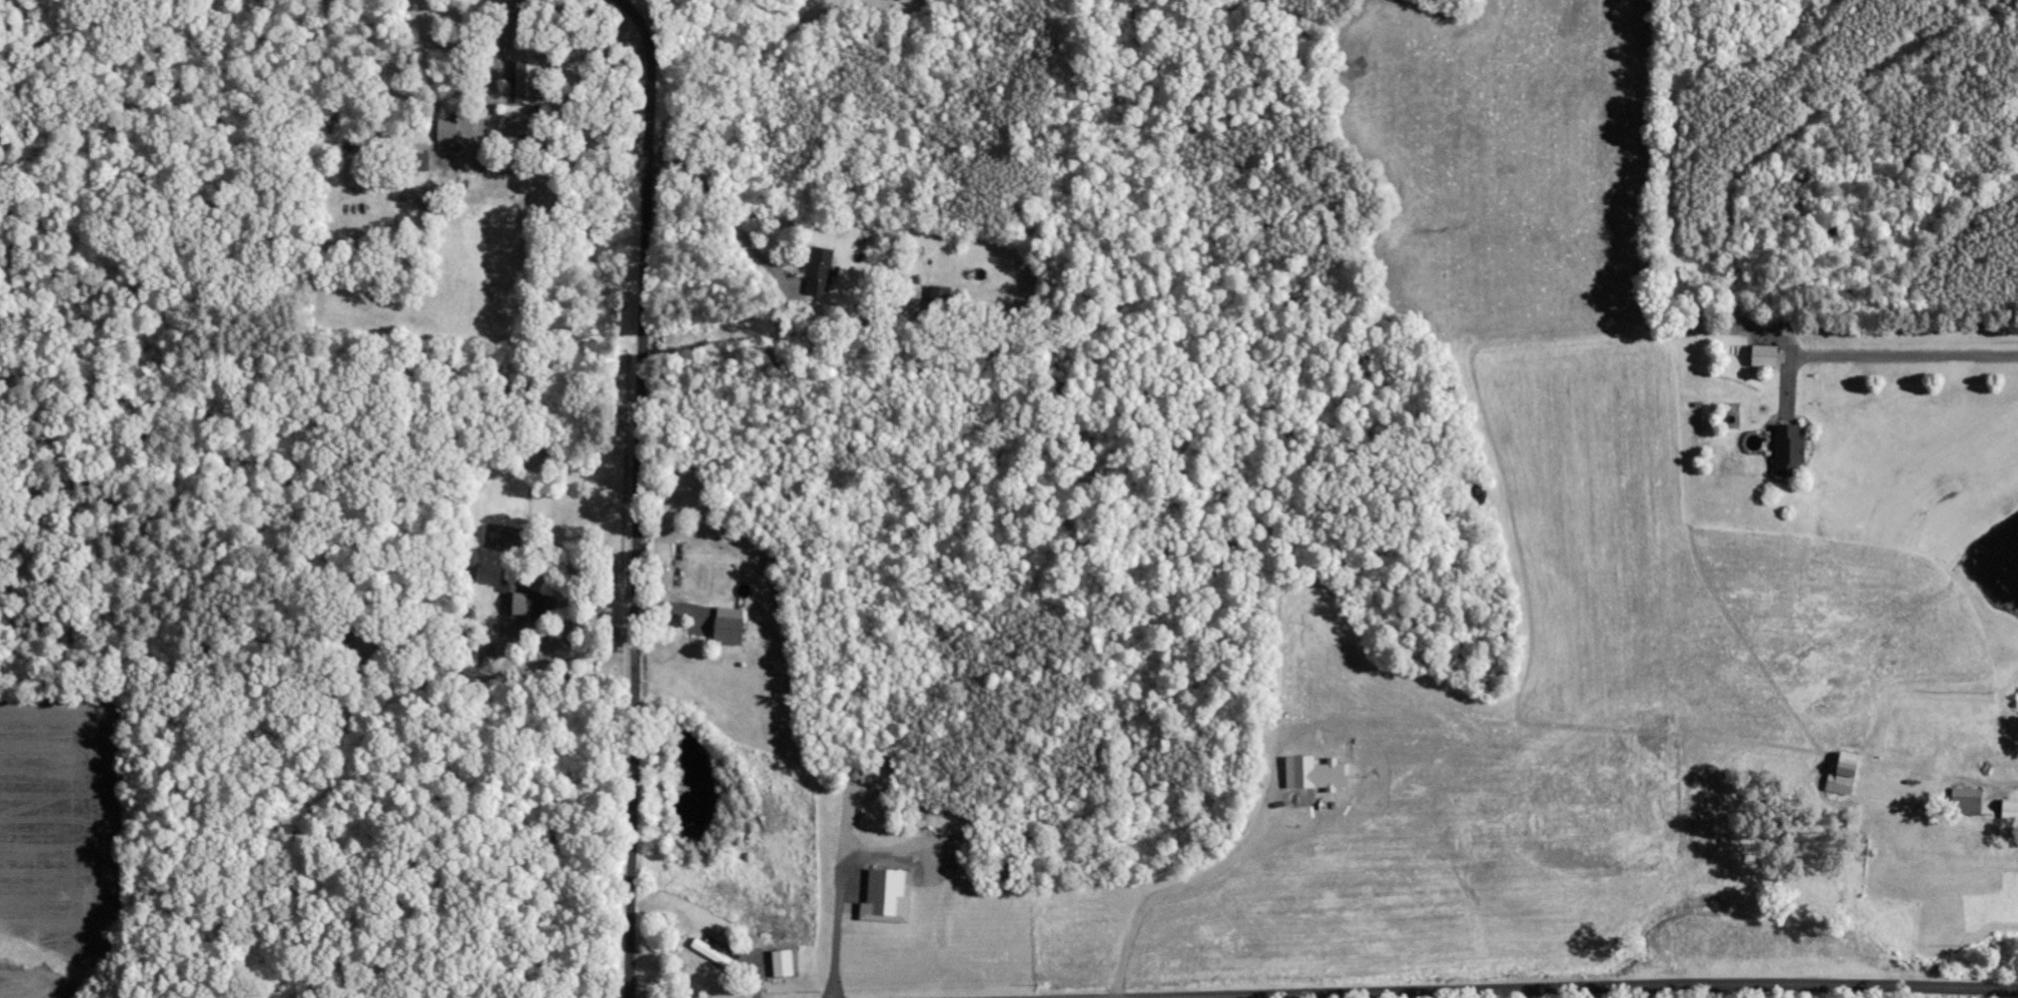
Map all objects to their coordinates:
road: (429, 35)
building: (529, 82)
building: (450, 131)
building: (426, 163)
building: (822, 272)
building: (940, 293)
building: (1768, 357)
building: (1791, 451)
road: (636, 494)
building: (512, 583)
building: (536, 606)
building: (732, 627)
building: (1847, 777)
building: (1969, 802)
building: (2010, 810)
building: (888, 899)
road: (499, 937)
building: (713, 954)
building: (785, 965)
road: (1601, 988)

